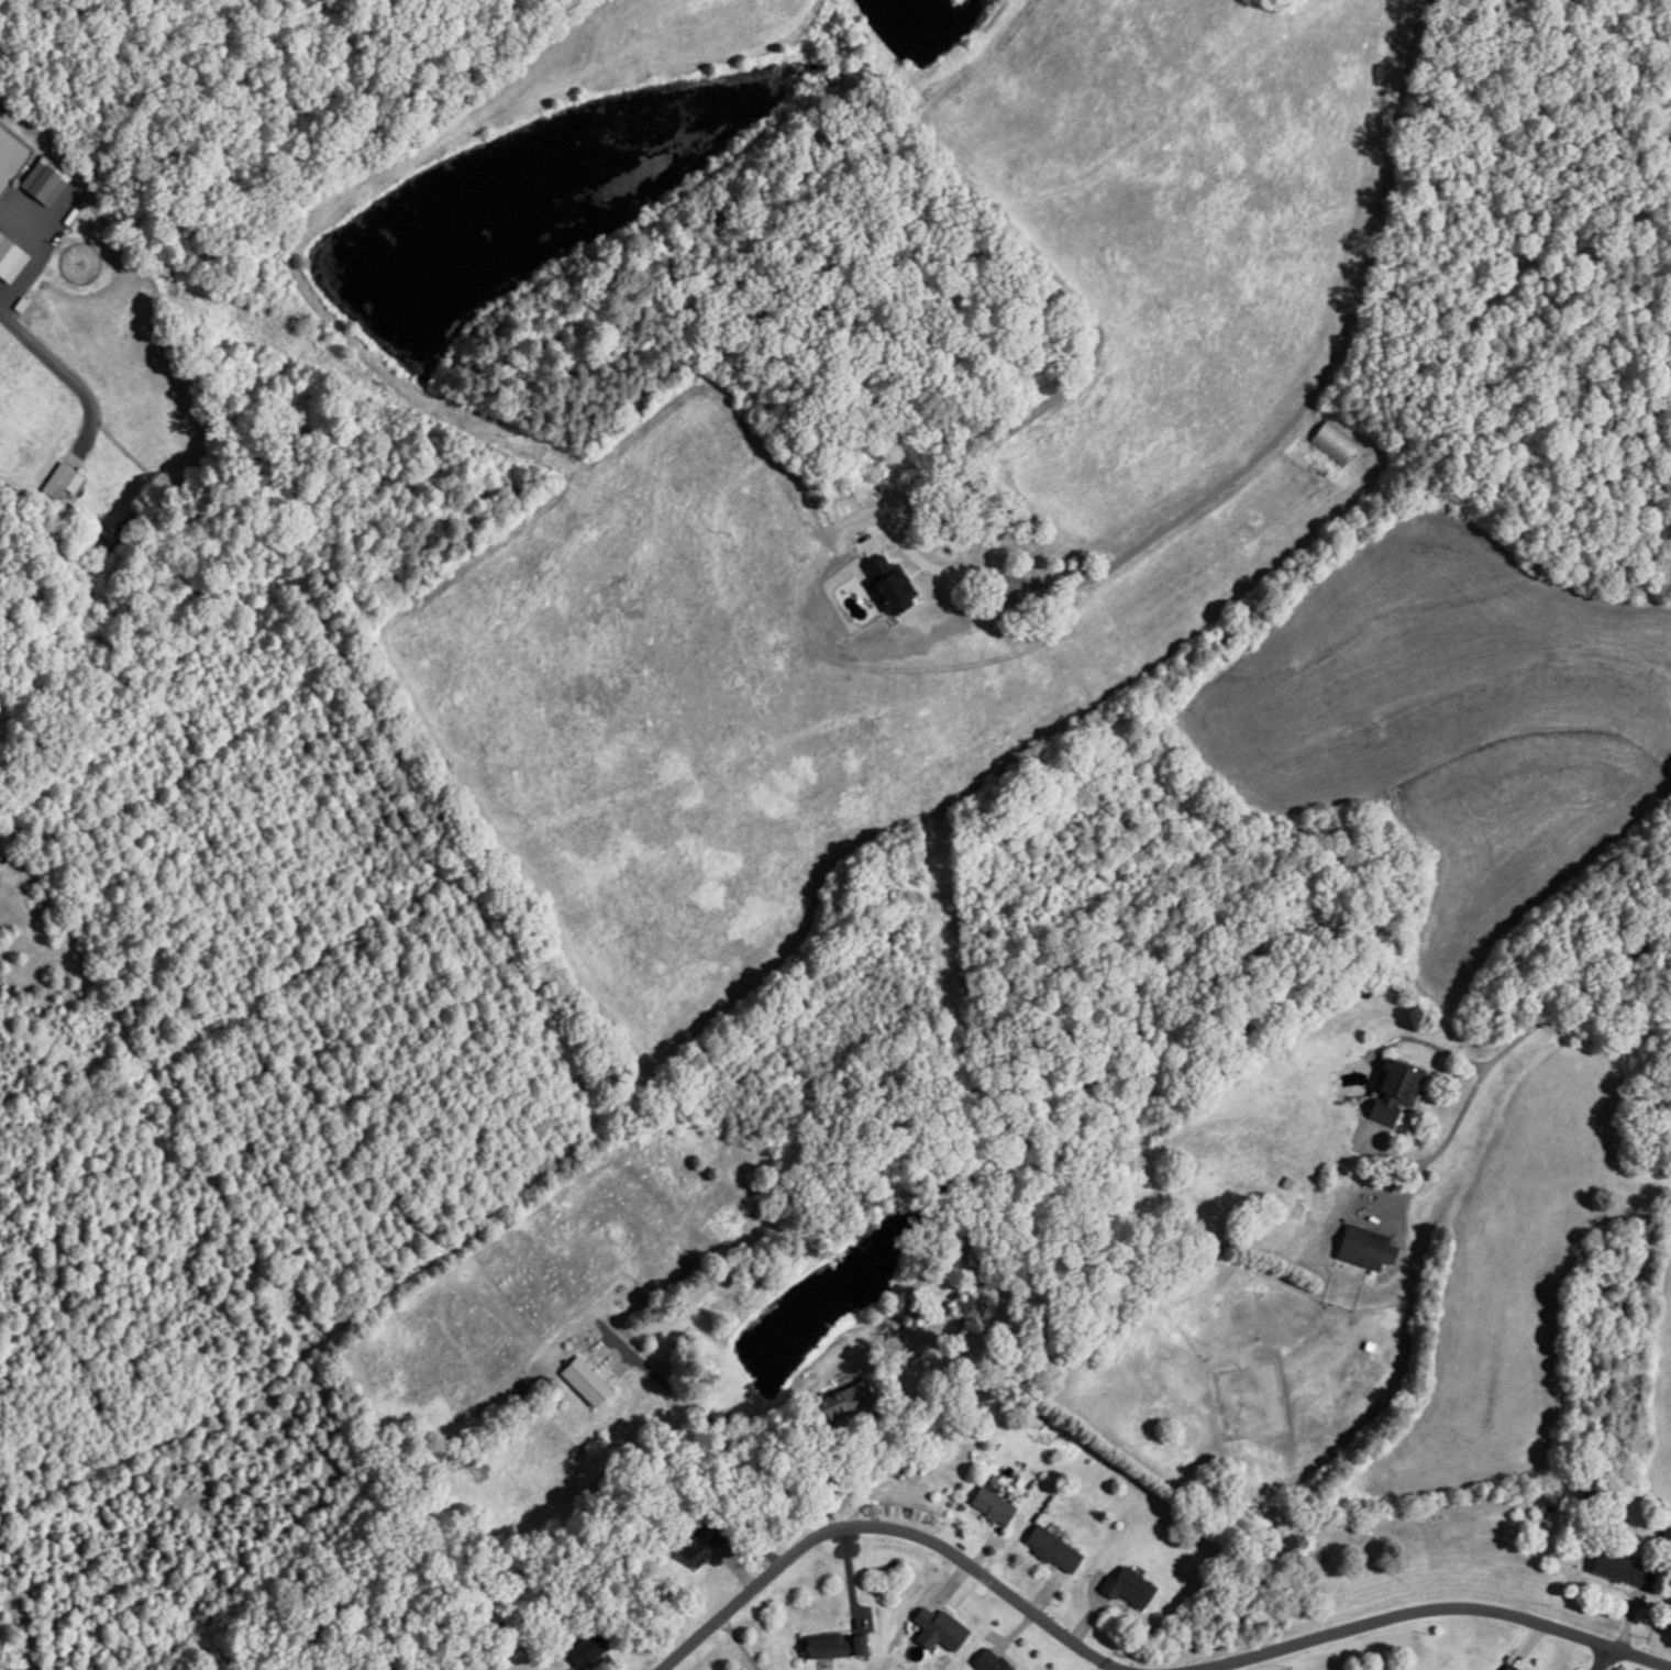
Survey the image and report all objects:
building: (44, 184)
building: (9, 256)
road: (56, 356)
road: (1307, 414)
building: (65, 478)
building: (996, 563)
road: (1526, 1019)
building: (1394, 1091)
building: (1365, 1249)
building: (972, 1309)
building: (584, 1383)
building: (843, 1405)
road: (722, 1444)
road: (860, 1470)
building: (992, 1507)
road: (885, 1528)
building: (699, 1544)
building: (1052, 1550)
building: (1622, 1571)
building: (1128, 1588)
road: (1436, 1608)
building: (939, 1630)
building: (834, 1648)
building: (589, 1650)
road: (1602, 1660)
building: (988, 1661)
building: (1509, 1668)

